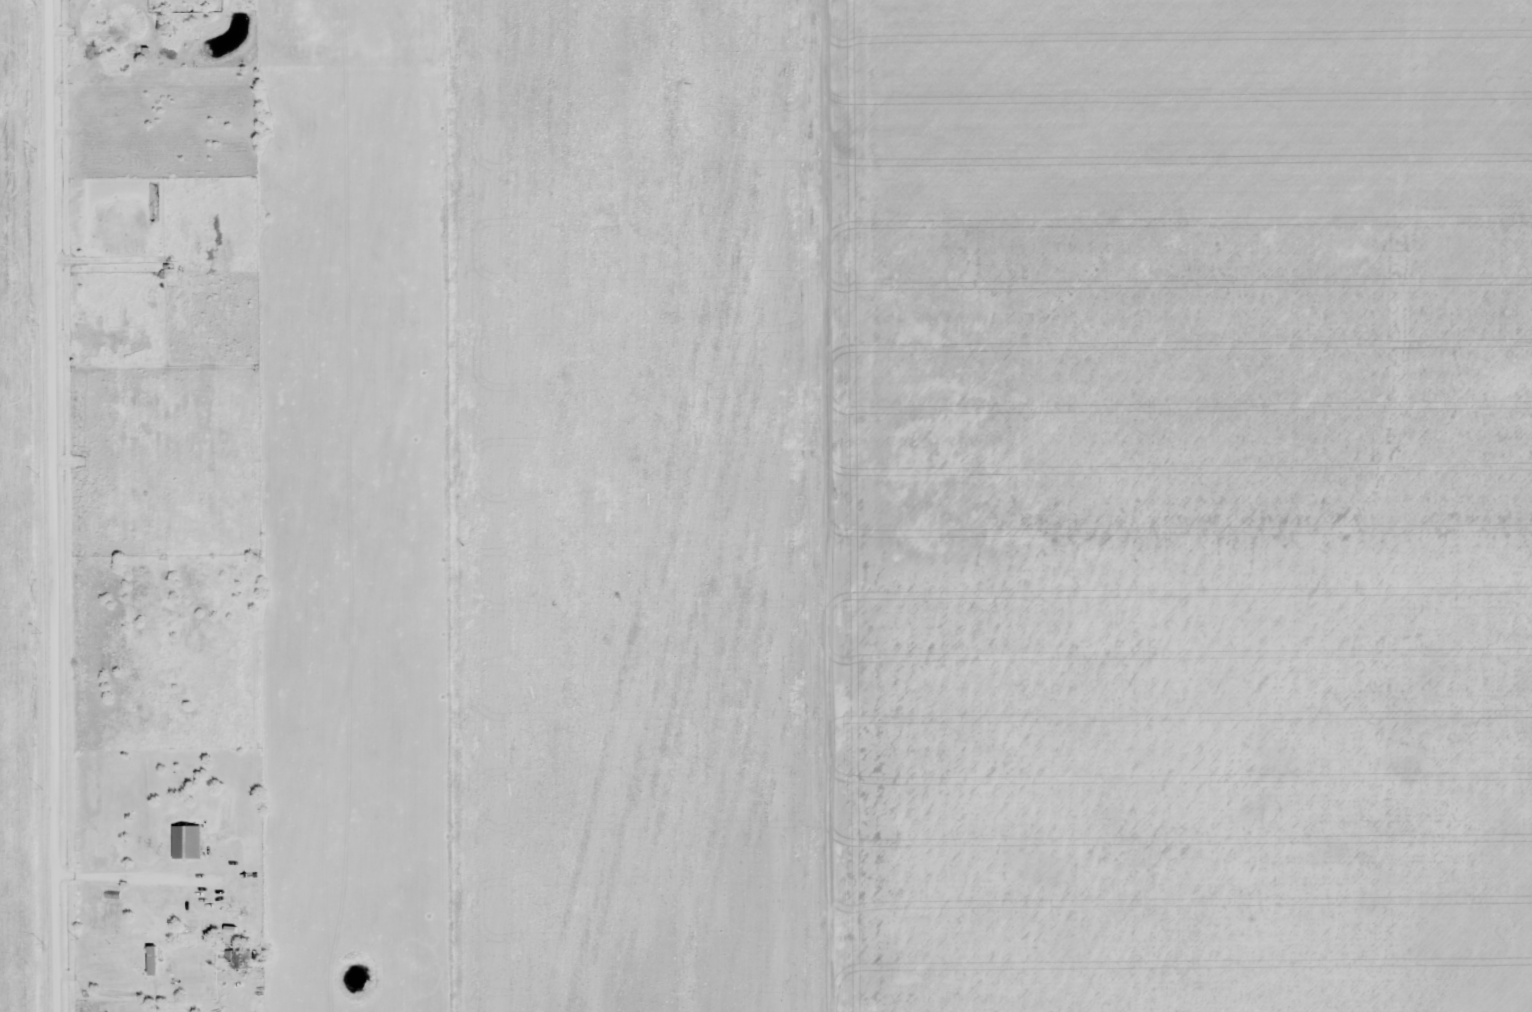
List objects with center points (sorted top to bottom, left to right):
road: (45, 506)
building: (186, 842)
building: (236, 958)

